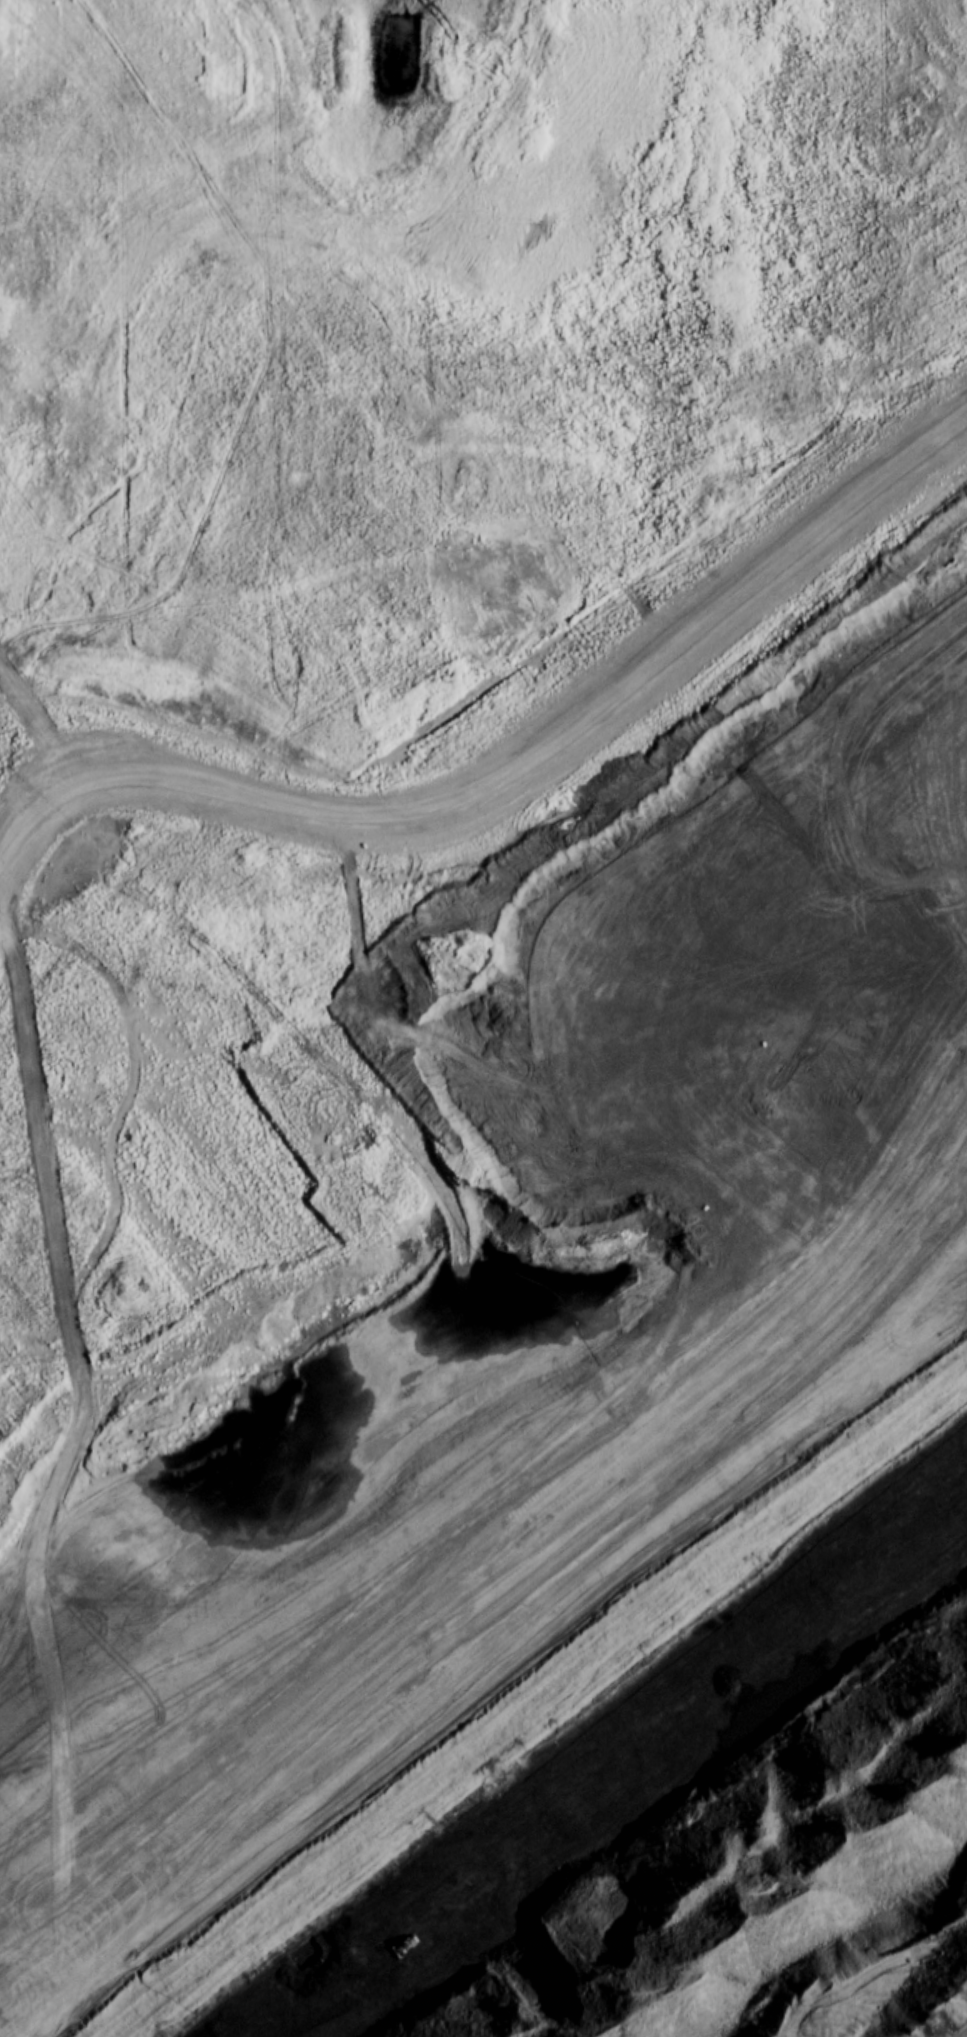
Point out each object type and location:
road: (483, 1962)

